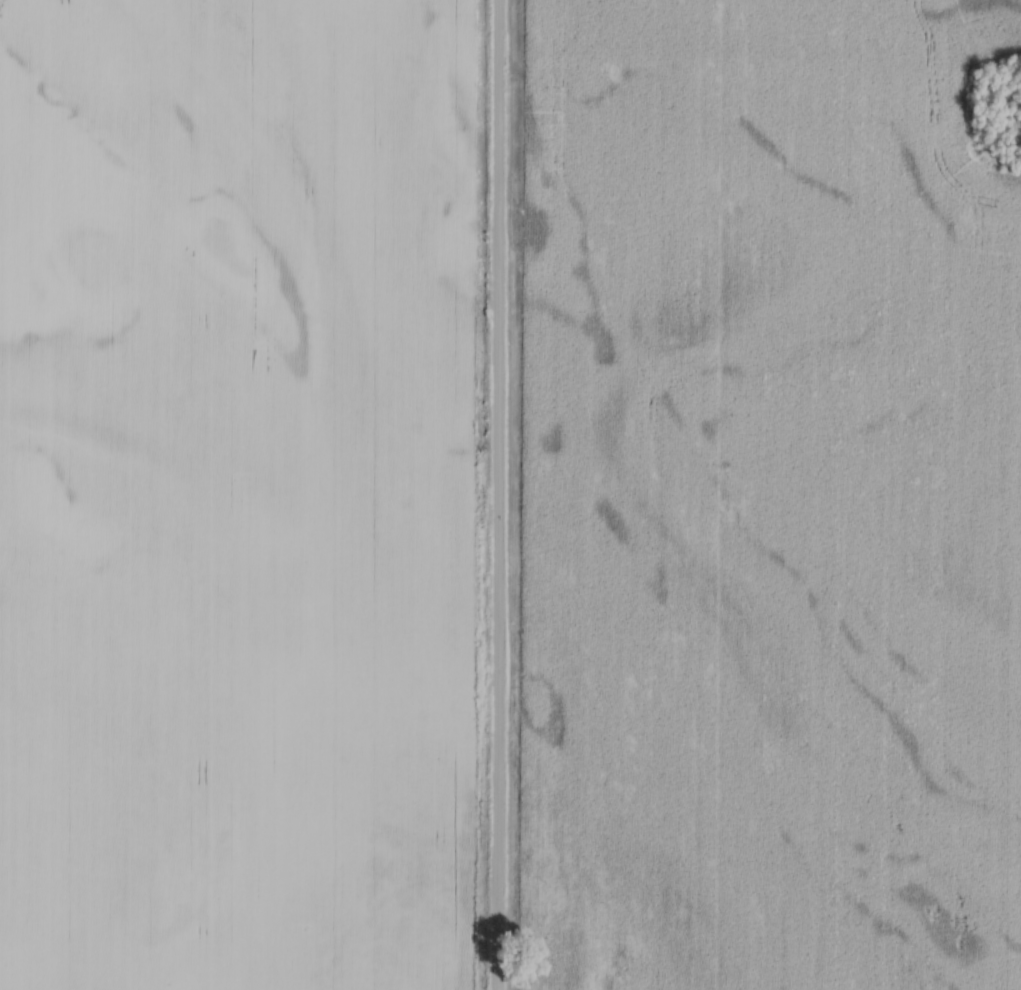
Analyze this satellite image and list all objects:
road: (496, 495)

